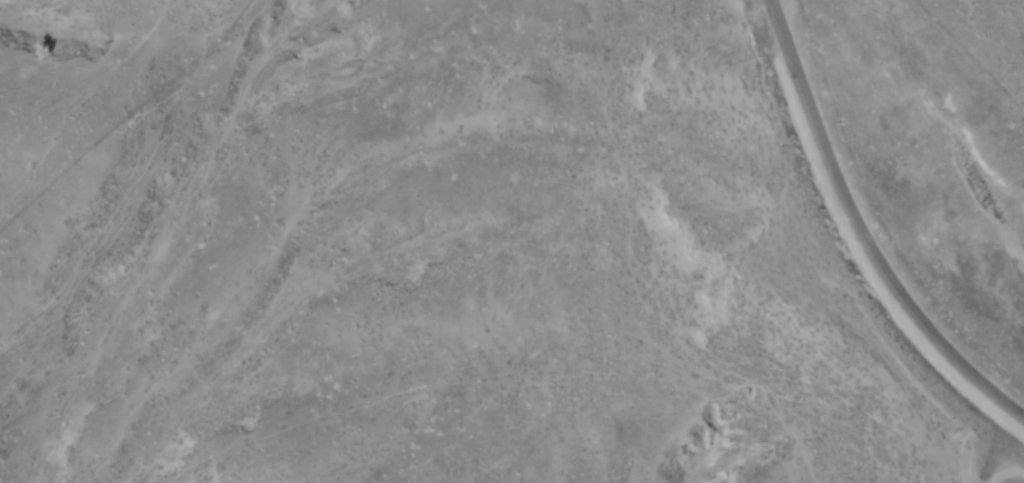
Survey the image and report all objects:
road: (869, 227)

